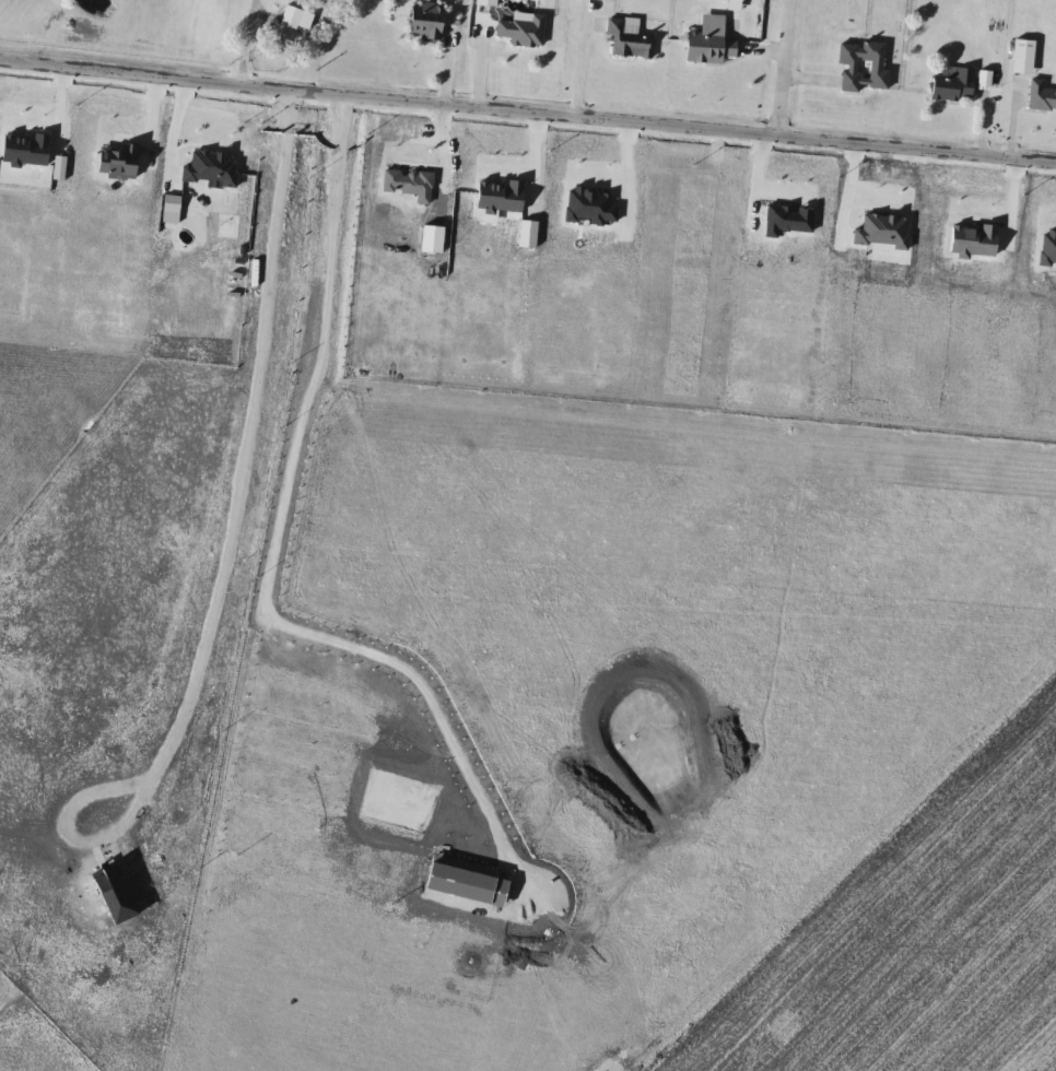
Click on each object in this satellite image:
building: (489, 2)
building: (298, 17)
building: (524, 30)
building: (629, 39)
road: (239, 45)
building: (712, 47)
building: (1024, 57)
building: (864, 66)
road: (576, 69)
road: (784, 71)
building: (955, 84)
building: (1041, 95)
road: (527, 120)

